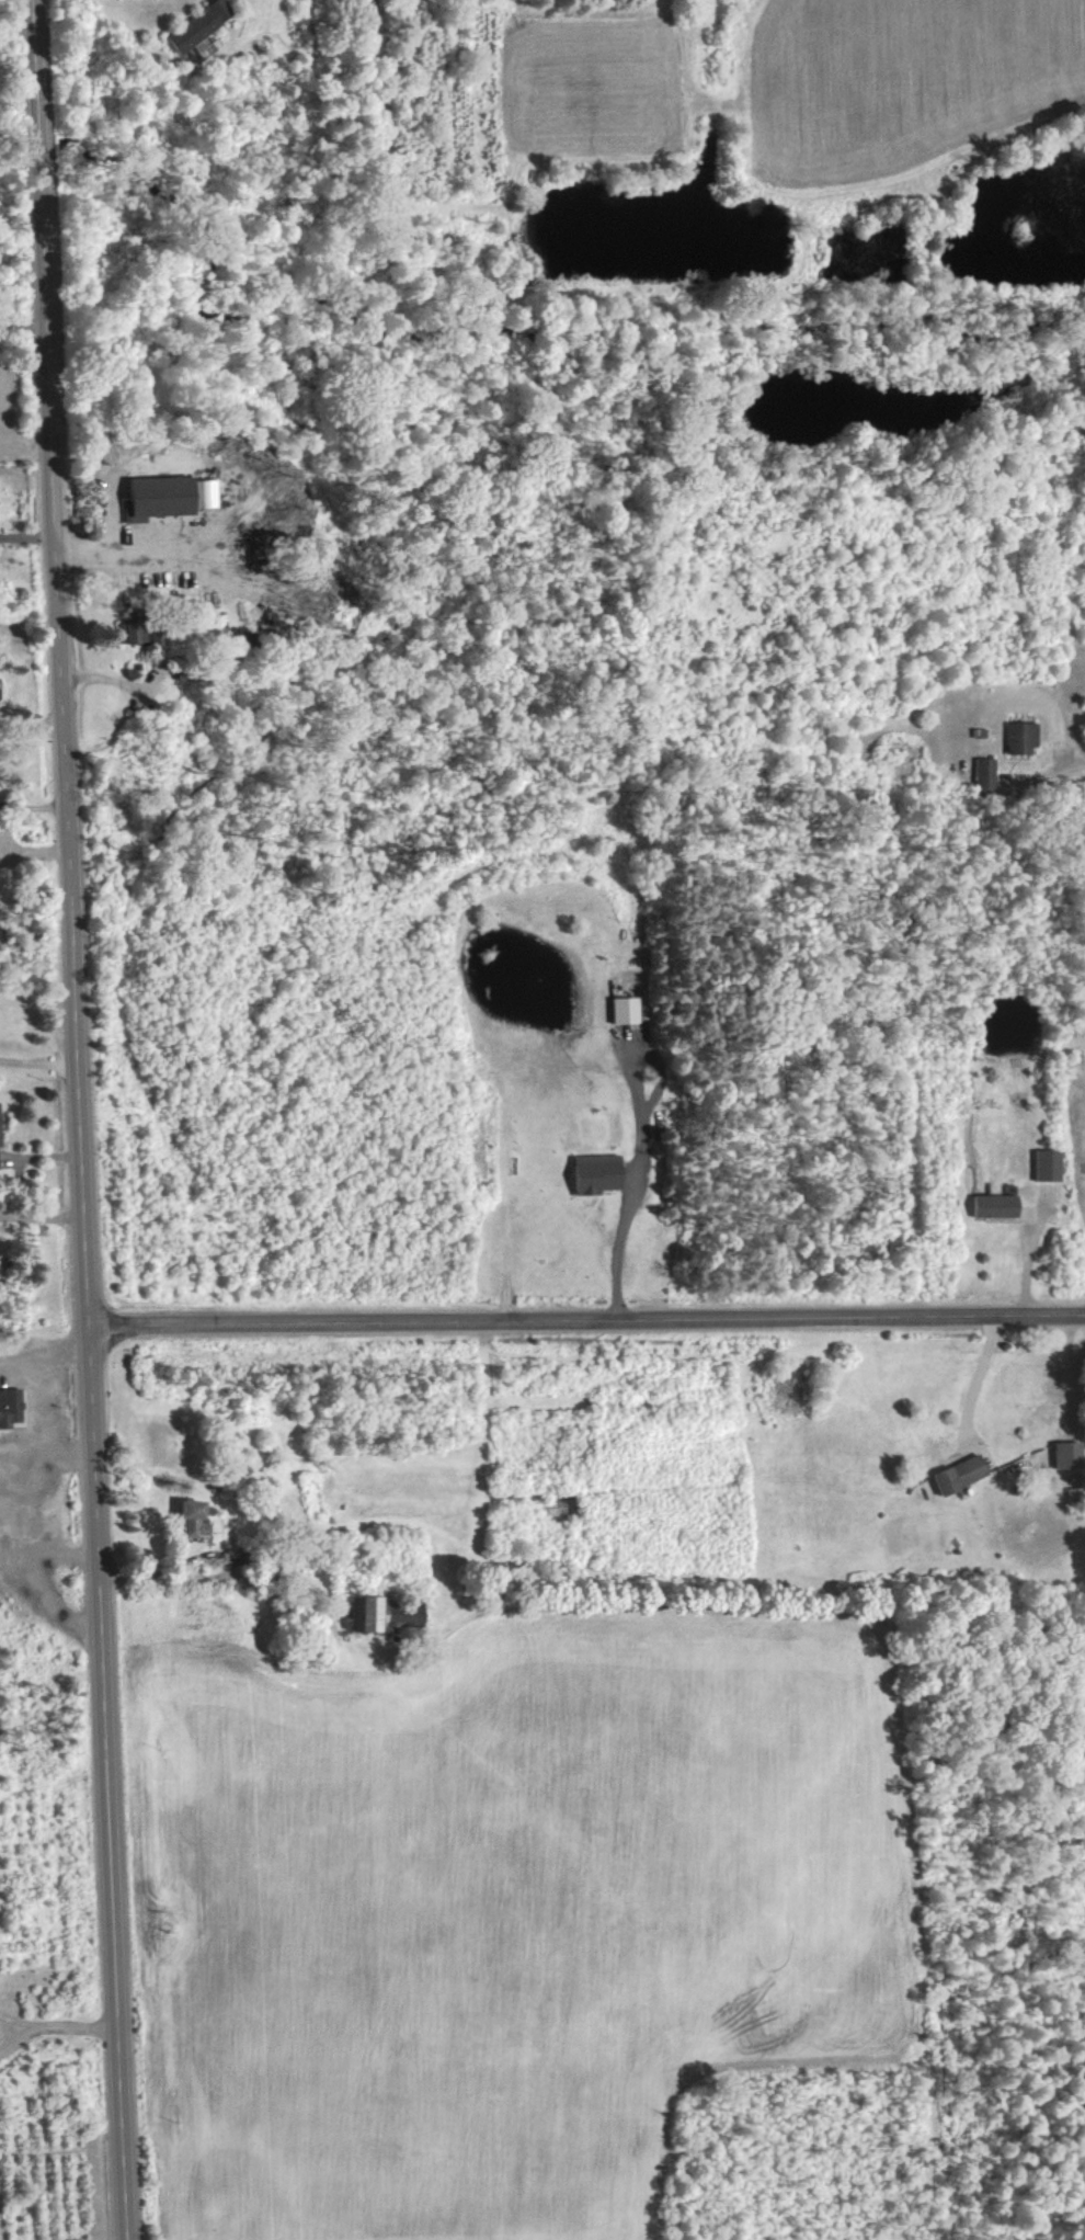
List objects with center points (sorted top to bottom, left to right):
building: (199, 27)
road: (23, 327)
road: (0, 407)
road: (25, 431)
building: (167, 497)
road: (27, 527)
road: (108, 557)
building: (142, 633)
road: (32, 725)
building: (1020, 738)
building: (983, 775)
road: (33, 806)
building: (625, 1010)
road: (910, 1021)
road: (38, 1056)
road: (80, 1119)
building: (1047, 1166)
building: (595, 1173)
road: (628, 1183)
building: (994, 1206)
road: (42, 1214)
road: (586, 1318)
road: (45, 1345)
road: (983, 1368)
building: (9, 1407)
road: (62, 1440)
road: (16, 1442)
building: (1067, 1455)
building: (959, 1475)
road: (23, 1508)
building: (192, 1520)
road: (61, 1542)
building: (389, 1615)
crop: (494, 1914)
road: (15, 2021)
road: (56, 2023)

